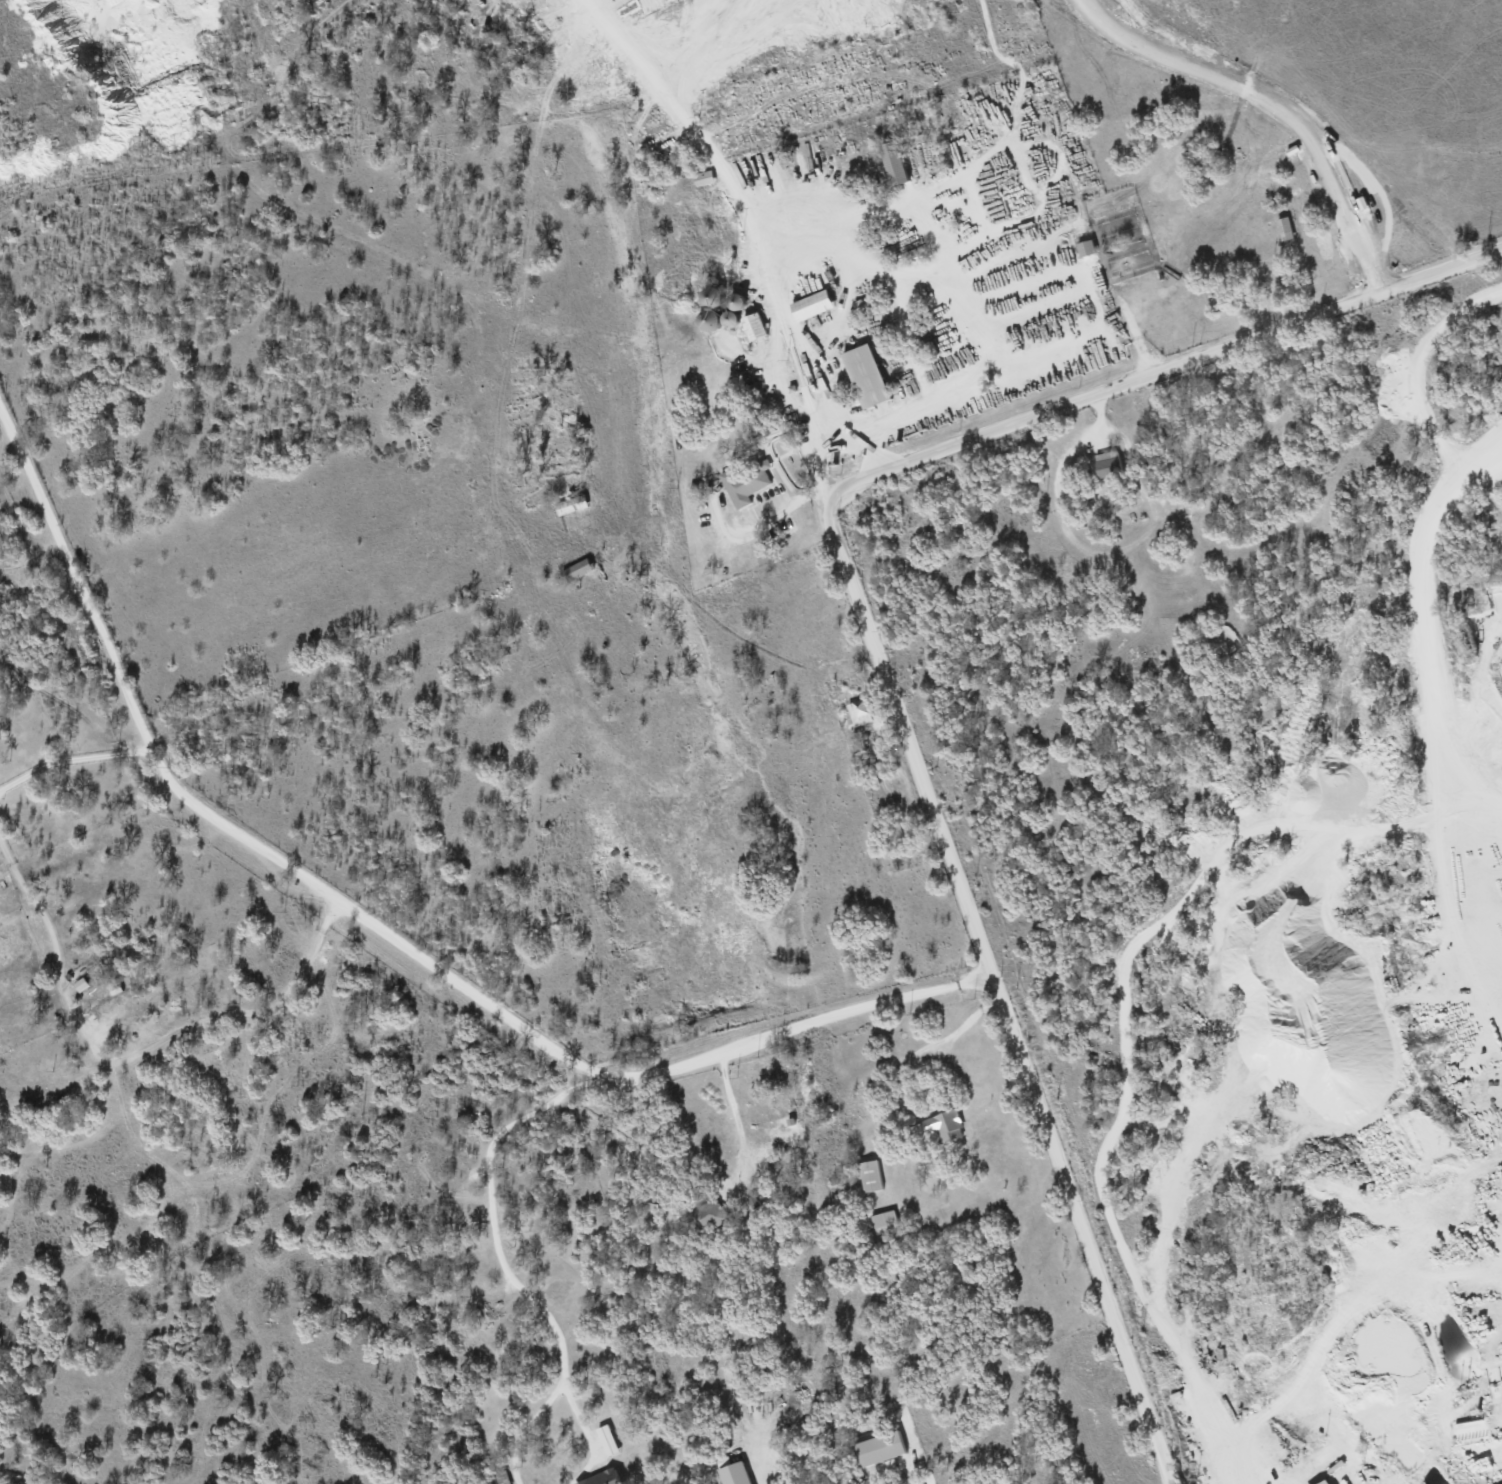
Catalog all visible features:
building: (702, 178)
building: (1283, 228)
building: (1084, 248)
quarry: (495, 269)
building: (810, 305)
building: (752, 326)
building: (863, 375)
building: (1106, 462)
building: (743, 482)
road: (1420, 589)
road: (874, 651)
building: (858, 711)
road: (71, 757)
road: (382, 928)
building: (96, 1006)
road: (958, 1029)
road: (133, 1054)
quarry: (1348, 1088)
road: (734, 1111)
building: (943, 1125)
building: (868, 1175)
road: (490, 1199)
building: (707, 1214)
building: (882, 1218)
building: (605, 1440)
building: (878, 1448)
building: (733, 1474)
building: (600, 1478)
building: (1324, 1482)

